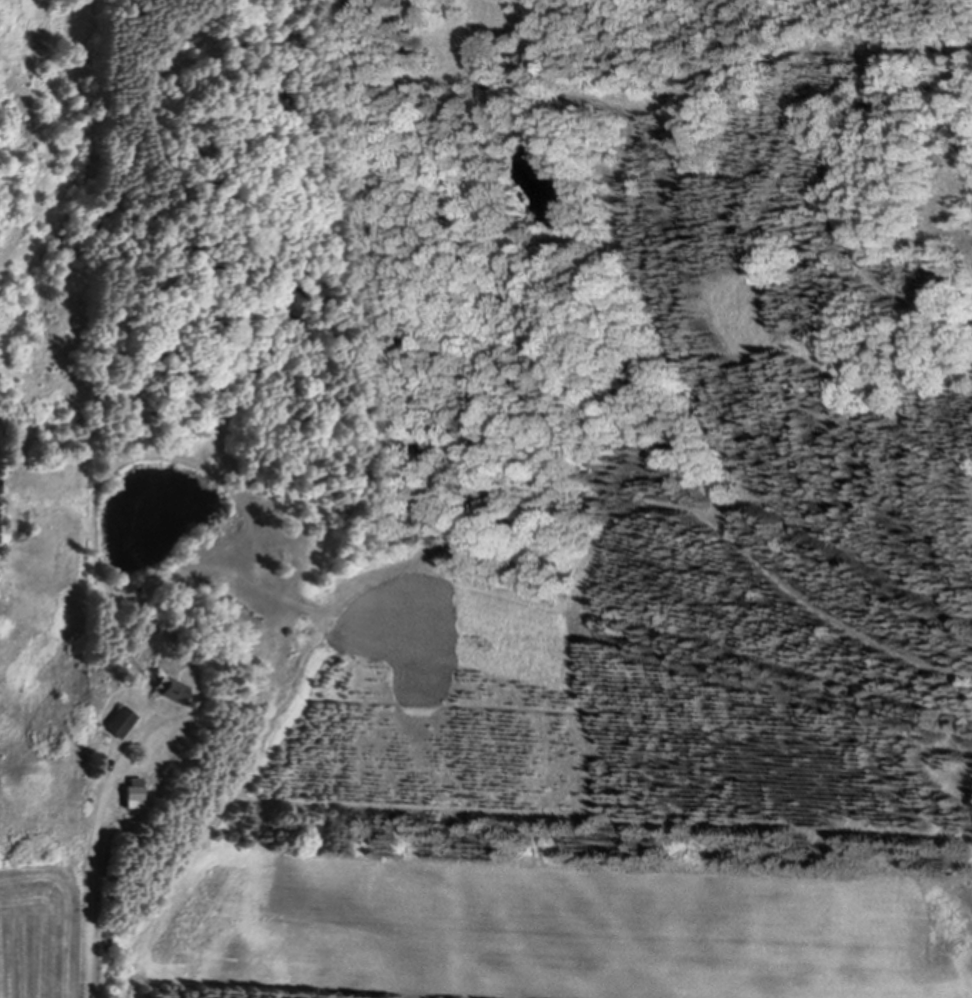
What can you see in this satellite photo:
road: (872, 108)
road: (633, 248)
road: (649, 504)
building: (178, 687)
building: (123, 717)
building: (117, 807)
building: (106, 855)
road: (92, 867)

